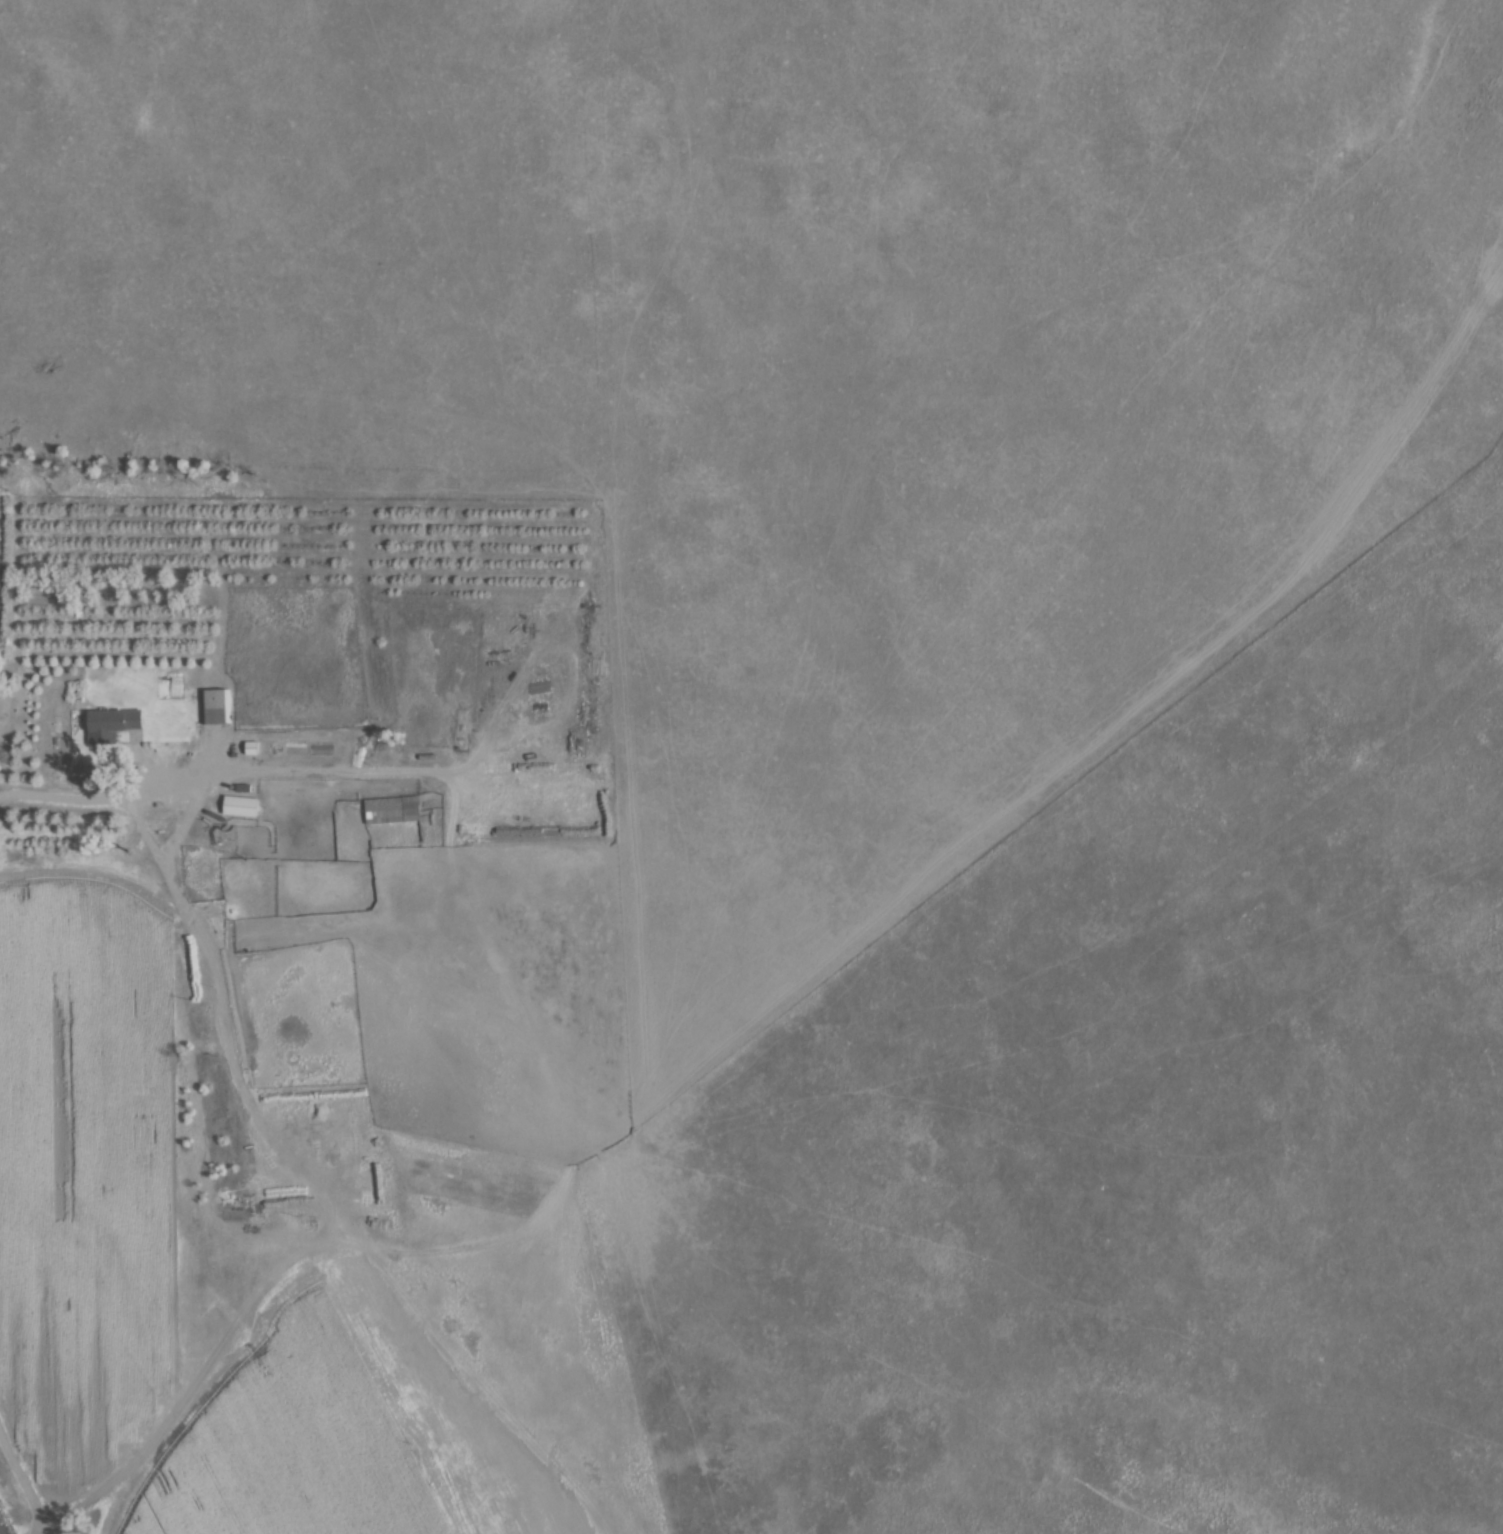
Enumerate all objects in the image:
building: (217, 707)
building: (113, 722)
road: (138, 756)
road: (116, 794)
building: (242, 804)
building: (393, 809)
crop: (85, 1170)
crop: (343, 1430)
road: (25, 1481)

